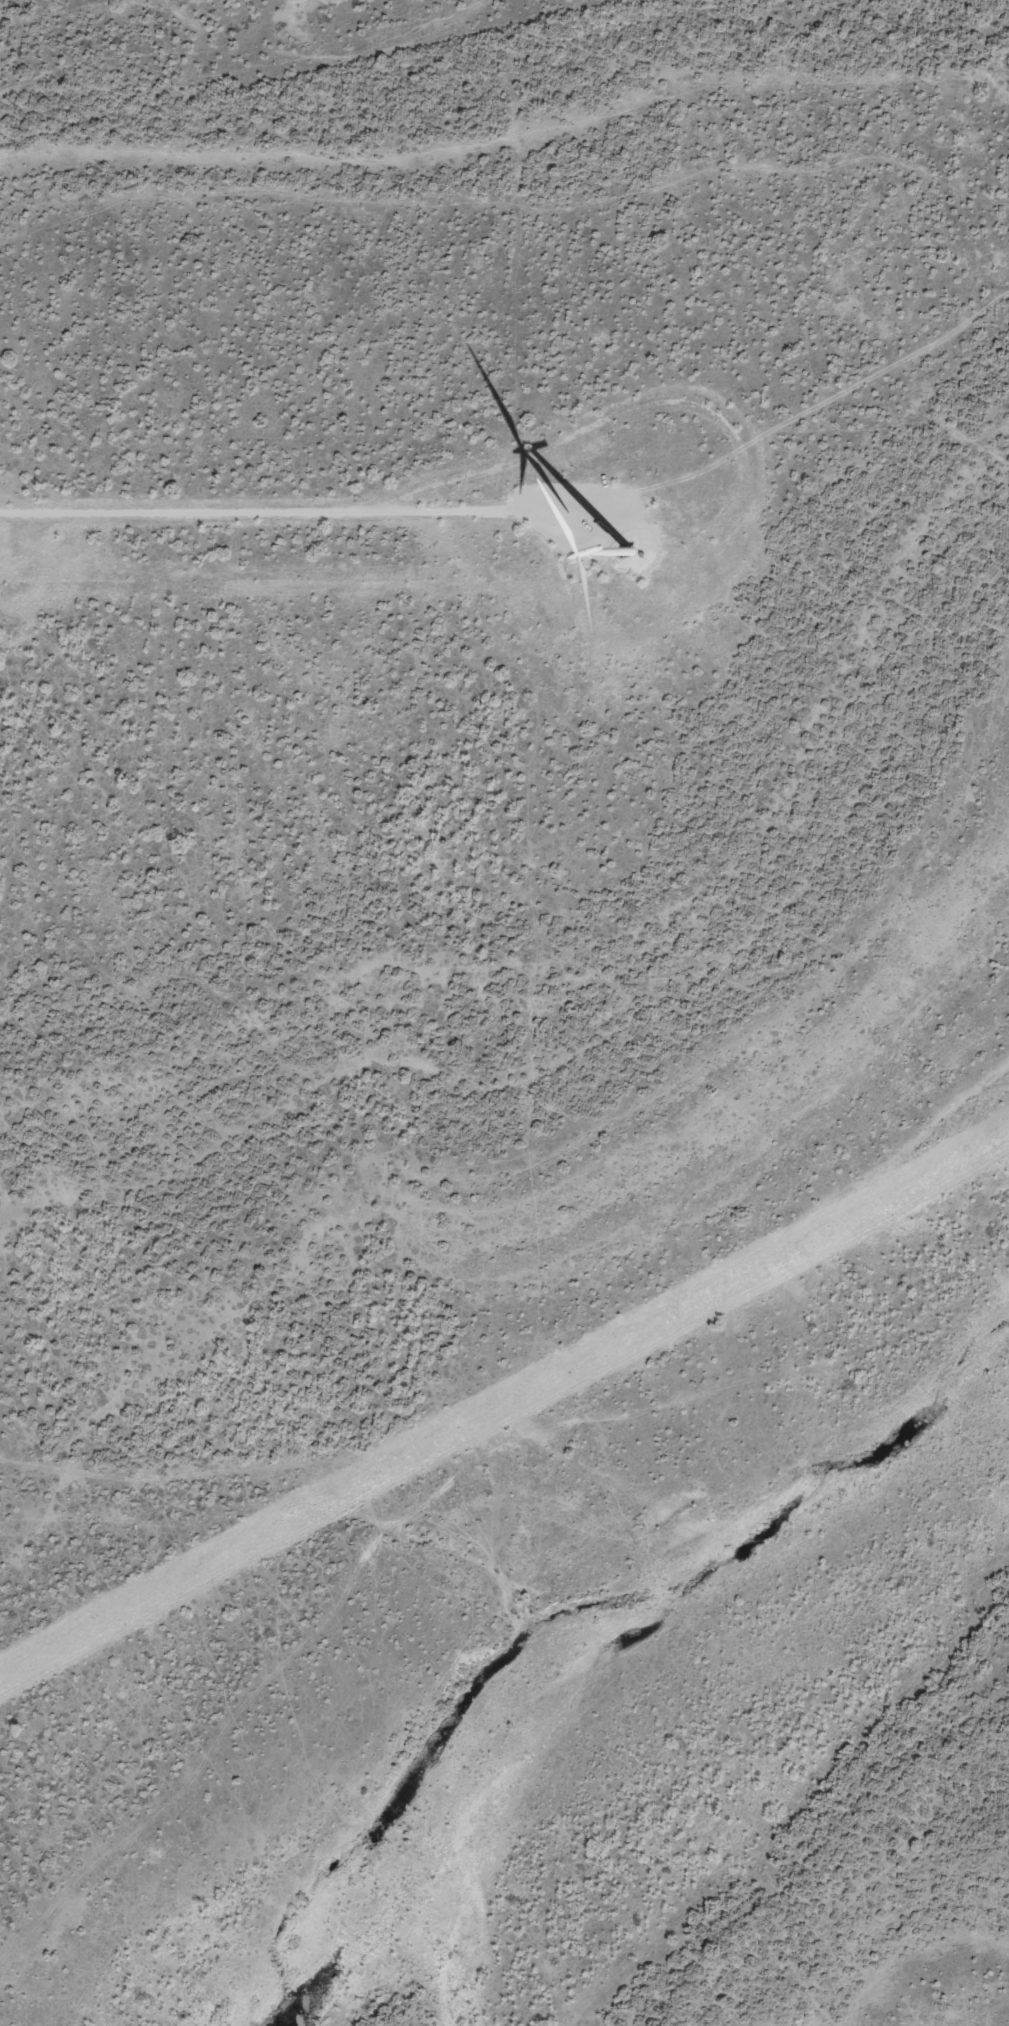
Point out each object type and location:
wind turbine: (641, 545)
road: (744, 1426)

